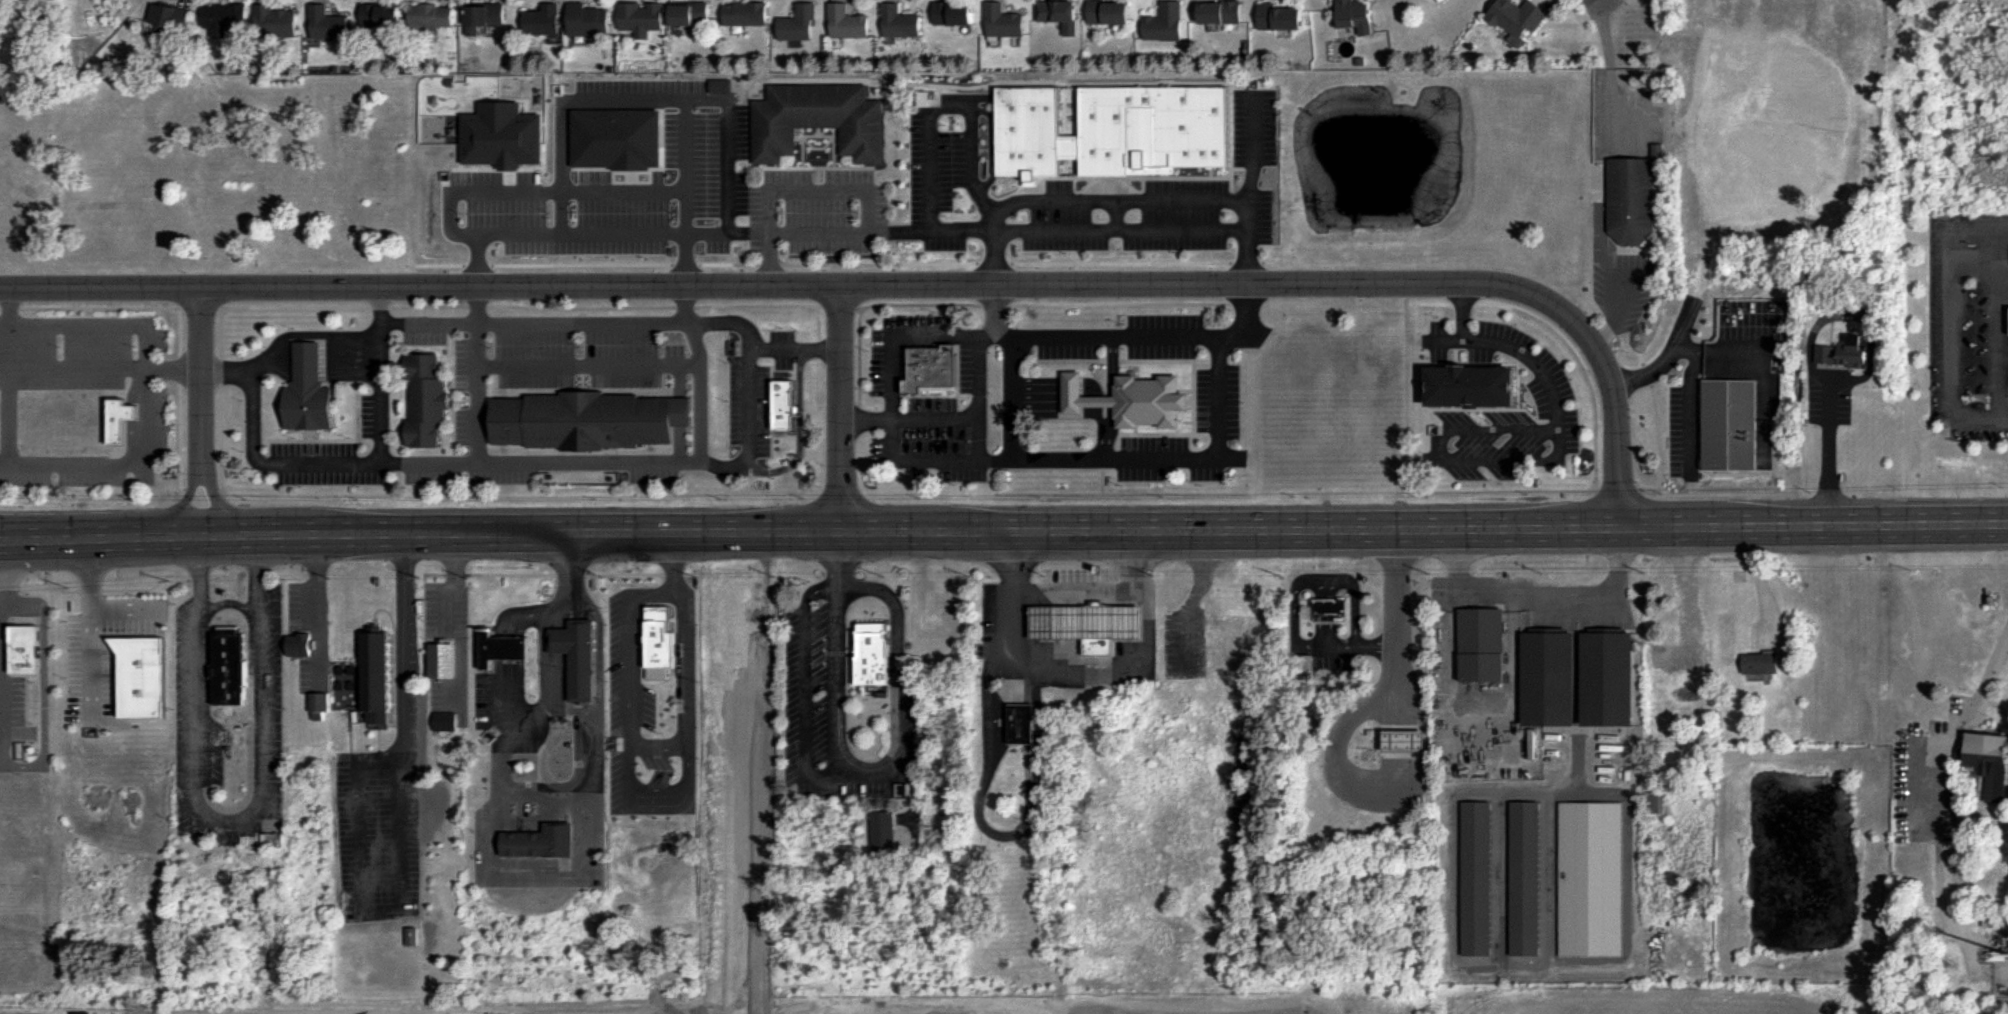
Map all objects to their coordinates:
road: (1603, 3)
building: (1107, 11)
building: (952, 12)
building: (1217, 12)
building: (379, 13)
building: (690, 13)
building: (744, 13)
building: (1057, 13)
building: (1354, 14)
road: (1593, 14)
building: (167, 15)
building: (430, 15)
building: (483, 15)
building: (1513, 16)
building: (640, 17)
building: (1279, 17)
building: (223, 19)
building: (541, 19)
building: (588, 19)
building: (1000, 19)
building: (899, 20)
building: (846, 21)
building: (1161, 21)
building: (275, 22)
building: (325, 23)
building: (797, 23)
road: (1610, 71)
road: (942, 108)
building: (814, 119)
building: (1148, 125)
building: (1022, 129)
building: (502, 135)
building: (1065, 144)
road: (1254, 144)
road: (730, 189)
road: (841, 190)
road: (507, 191)
road: (1123, 195)
building: (1630, 200)
road: (1056, 230)
road: (902, 286)
road: (1006, 305)
road: (689, 306)
road: (838, 306)
road: (446, 307)
road: (200, 309)
road: (1617, 311)
road: (1949, 313)
road: (1243, 320)
road: (179, 326)
road: (901, 335)
road: (305, 336)
road: (1993, 340)
road: (1563, 341)
road: (1507, 346)
road: (377, 349)
road: (758, 350)
building: (1843, 352)
road: (1691, 361)
road: (281, 362)
road: (310, 362)
road: (350, 362)
road: (589, 365)
building: (932, 368)
road: (100, 372)
road: (479, 375)
road: (8, 376)
road: (200, 378)
road: (1110, 384)
building: (1464, 386)
parking lot: (93, 387)
road: (1087, 388)
building: (310, 393)
road: (700, 394)
road: (145, 396)
road: (1012, 399)
building: (1126, 400)
building: (427, 401)
building: (779, 405)
road: (1218, 407)
road: (749, 410)
road: (843, 410)
building: (124, 420)
building: (589, 420)
road: (1657, 424)
building: (1729, 424)
road: (799, 431)
road: (975, 456)
road: (1442, 458)
road: (326, 464)
road: (1829, 464)
road: (725, 465)
road: (1616, 489)
road: (1120, 493)
road: (217, 500)
road: (184, 501)
road: (306, 501)
road: (1425, 530)
road: (508, 536)
road: (87, 537)
road: (840, 562)
road: (258, 574)
road: (199, 575)
road: (1758, 578)
road: (1687, 581)
road: (453, 583)
road: (572, 583)
road: (764, 589)
road: (654, 590)
road: (674, 591)
road: (1077, 592)
road: (1190, 599)
road: (1537, 599)
road: (228, 602)
road: (1294, 603)
road: (320, 607)
building: (1326, 609)
road: (575, 610)
road: (79, 613)
road: (1396, 613)
building: (651, 617)
building: (1082, 622)
building: (621, 625)
road: (545, 633)
building: (1229, 643)
building: (299, 644)
building: (1477, 644)
road: (516, 648)
building: (24, 649)
road: (408, 649)
building: (502, 649)
building: (731, 652)
building: (868, 655)
building: (579, 656)
building: (759, 657)
building: (1674, 658)
road: (578, 660)
building: (444, 661)
building: (1758, 661)
building: (229, 664)
road: (1080, 665)
road: (1995, 669)
building: (140, 674)
building: (379, 676)
building: (1544, 677)
building: (1603, 677)
road: (600, 678)
road: (837, 682)
building: (25, 684)
road: (516, 702)
building: (320, 704)
road: (1995, 707)
building: (444, 720)
building: (1018, 724)
road: (1637, 727)
road: (0, 732)
building: (1400, 740)
road: (656, 744)
building: (1986, 763)
road: (588, 774)
road: (657, 775)
road: (864, 775)
road: (561, 785)
building: (1654, 801)
road: (1937, 817)
road: (230, 827)
building: (883, 831)
road: (999, 835)
building: (542, 842)
building: (1589, 878)
road: (492, 879)
building: (1474, 879)
building: (1522, 879)
road: (361, 901)
building: (1993, 918)
building: (411, 935)
crop: (1687, 1006)
crop: (793, 1011)

